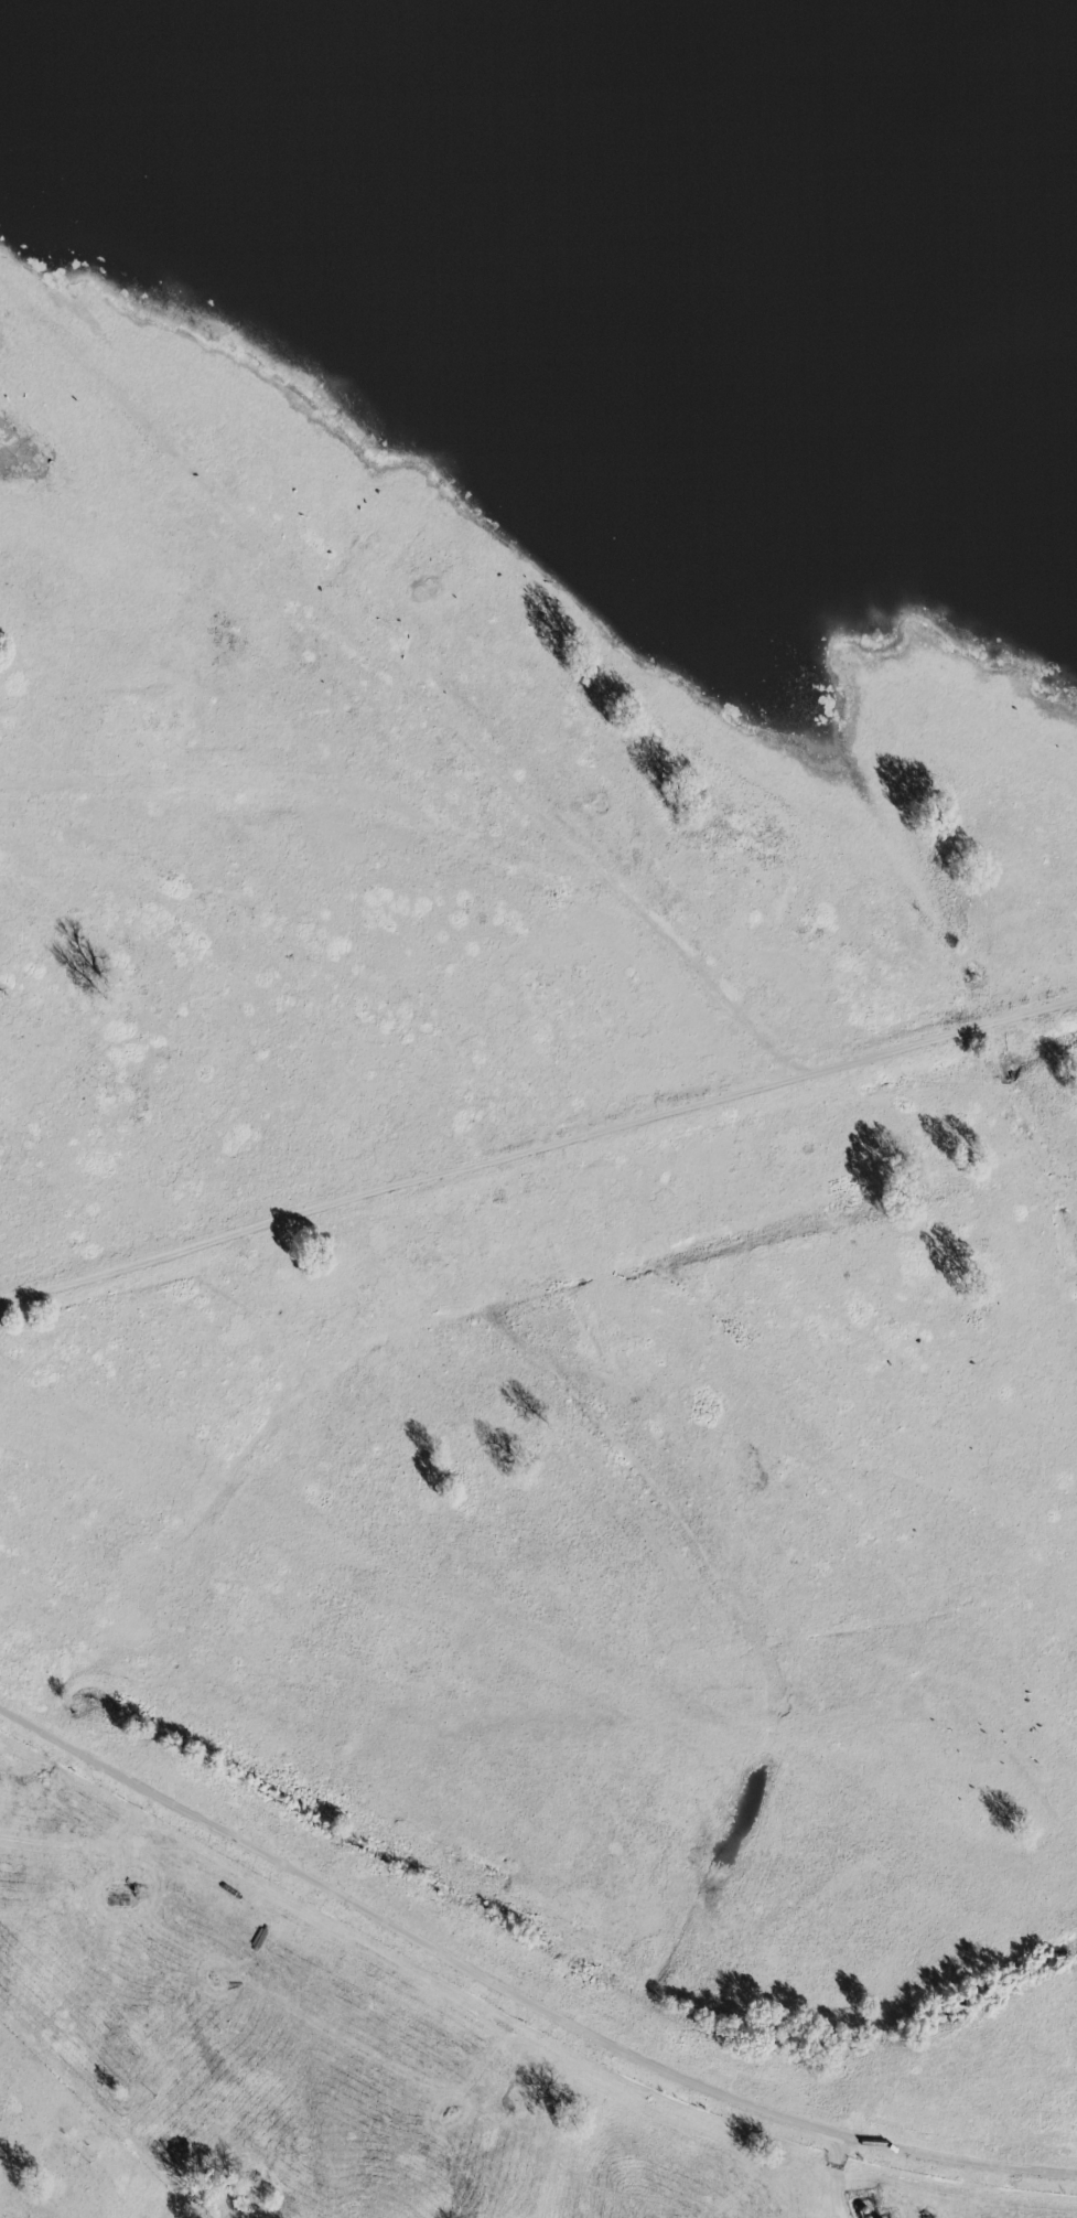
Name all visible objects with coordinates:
road: (537, 1147)
road: (515, 2019)

